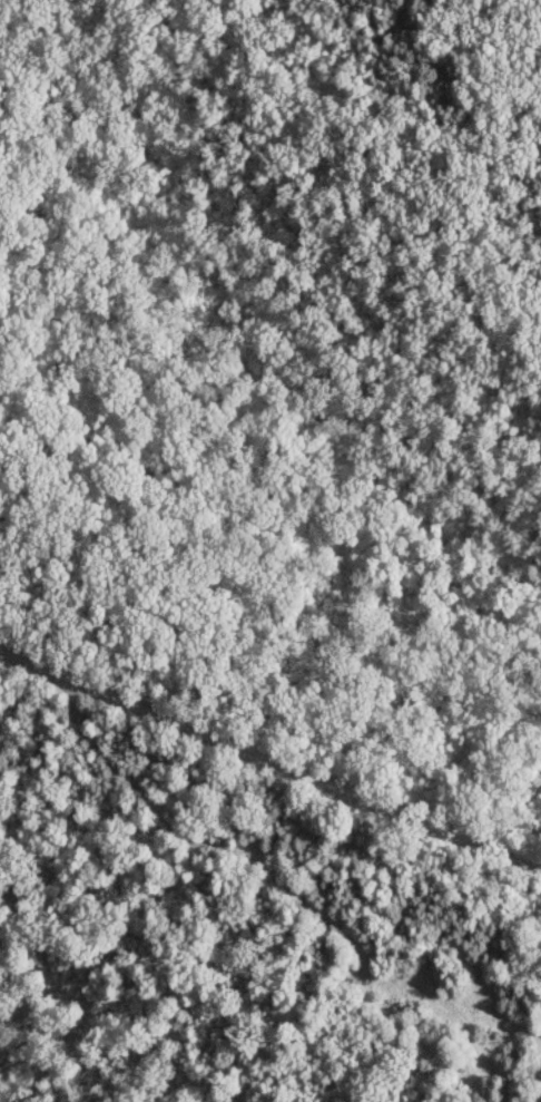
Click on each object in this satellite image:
road: (270, 760)

